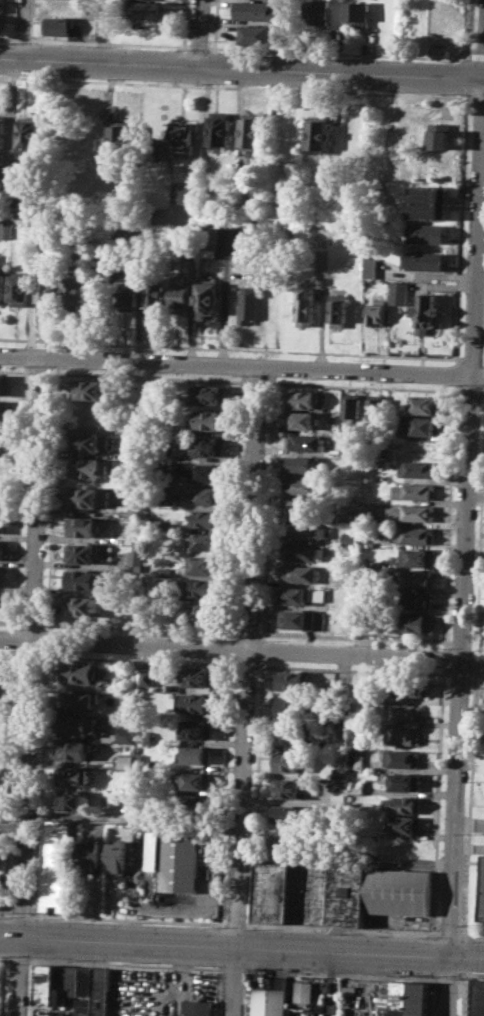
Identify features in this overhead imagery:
building: (2, 5)
building: (147, 9)
building: (253, 9)
building: (316, 11)
building: (355, 13)
road: (17, 20)
road: (31, 20)
building: (1, 22)
road: (184, 23)
road: (215, 24)
building: (60, 25)
road: (469, 27)
road: (25, 30)
building: (255, 33)
road: (199, 34)
road: (8, 40)
road: (23, 41)
road: (108, 44)
road: (198, 47)
road: (336, 53)
road: (474, 55)
road: (241, 69)
road: (235, 86)
road: (477, 97)
building: (219, 127)
building: (3, 131)
building: (251, 131)
building: (31, 133)
building: (441, 135)
building: (318, 136)
building: (121, 137)
building: (182, 137)
building: (186, 194)
building: (428, 202)
road: (477, 228)
building: (7, 230)
building: (430, 234)
building: (209, 237)
building: (110, 244)
building: (208, 249)
building: (425, 261)
building: (369, 267)
building: (4, 286)
building: (48, 288)
building: (21, 289)
road: (479, 291)
building: (74, 292)
building: (398, 292)
building: (128, 295)
building: (156, 297)
building: (181, 297)
building: (206, 299)
building: (248, 304)
building: (304, 306)
building: (338, 309)
building: (376, 312)
building: (426, 315)
road: (229, 348)
road: (235, 363)
road: (16, 370)
road: (41, 371)
road: (455, 372)
road: (149, 377)
road: (477, 379)
road: (257, 381)
building: (4, 384)
road: (454, 384)
road: (361, 386)
building: (91, 388)
road: (471, 389)
road: (482, 392)
building: (207, 393)
building: (303, 398)
building: (425, 403)
building: (375, 408)
building: (4, 410)
building: (351, 411)
building: (208, 419)
building: (301, 419)
building: (397, 421)
building: (423, 425)
building: (3, 436)
building: (88, 440)
building: (305, 442)
building: (206, 446)
building: (419, 447)
building: (303, 463)
building: (87, 466)
building: (418, 468)
building: (205, 472)
building: (304, 485)
road: (476, 488)
building: (415, 490)
building: (207, 494)
building: (1, 496)
building: (90, 496)
building: (306, 510)
building: (411, 512)
road: (449, 514)
building: (369, 517)
building: (204, 518)
building: (1, 522)
building: (83, 526)
building: (305, 530)
building: (415, 535)
building: (349, 537)
building: (202, 540)
building: (2, 549)
building: (302, 551)
building: (82, 552)
building: (416, 556)
building: (135, 558)
building: (202, 564)
building: (164, 572)
building: (300, 572)
building: (1, 576)
building: (416, 578)
building: (85, 579)
building: (202, 588)
building: (300, 594)
building: (415, 600)
building: (0, 601)
building: (82, 605)
building: (201, 611)
building: (297, 618)
building: (415, 622)
road: (34, 646)
road: (230, 650)
road: (443, 657)
road: (461, 666)
road: (472, 670)
building: (79, 672)
building: (147, 676)
building: (199, 676)
building: (292, 681)
building: (412, 685)
road: (250, 690)
building: (77, 699)
building: (194, 702)
building: (291, 707)
building: (404, 712)
building: (81, 724)
building: (195, 728)
building: (126, 734)
building: (290, 734)
building: (403, 735)
building: (73, 749)
building: (197, 754)
building: (402, 758)
building: (126, 760)
building: (290, 761)
building: (358, 761)
building: (72, 776)
building: (194, 780)
building: (404, 781)
building: (291, 787)
building: (70, 799)
building: (195, 802)
building: (405, 804)
building: (287, 813)
road: (136, 820)
building: (405, 825)
road: (13, 826)
building: (286, 837)
building: (91, 856)
building: (117, 857)
building: (178, 862)
building: (2, 866)
building: (57, 866)
building: (398, 891)
road: (433, 893)
building: (309, 895)
building: (483, 909)
road: (5, 912)
road: (19, 913)
road: (128, 918)
road: (235, 923)
road: (449, 934)
road: (242, 945)
road: (20, 976)
building: (85, 980)
building: (65, 982)
building: (45, 984)
road: (447, 985)
building: (101, 990)
building: (303, 991)
building: (271, 998)
building: (409, 998)
building: (196, 1009)
building: (300, 1011)

